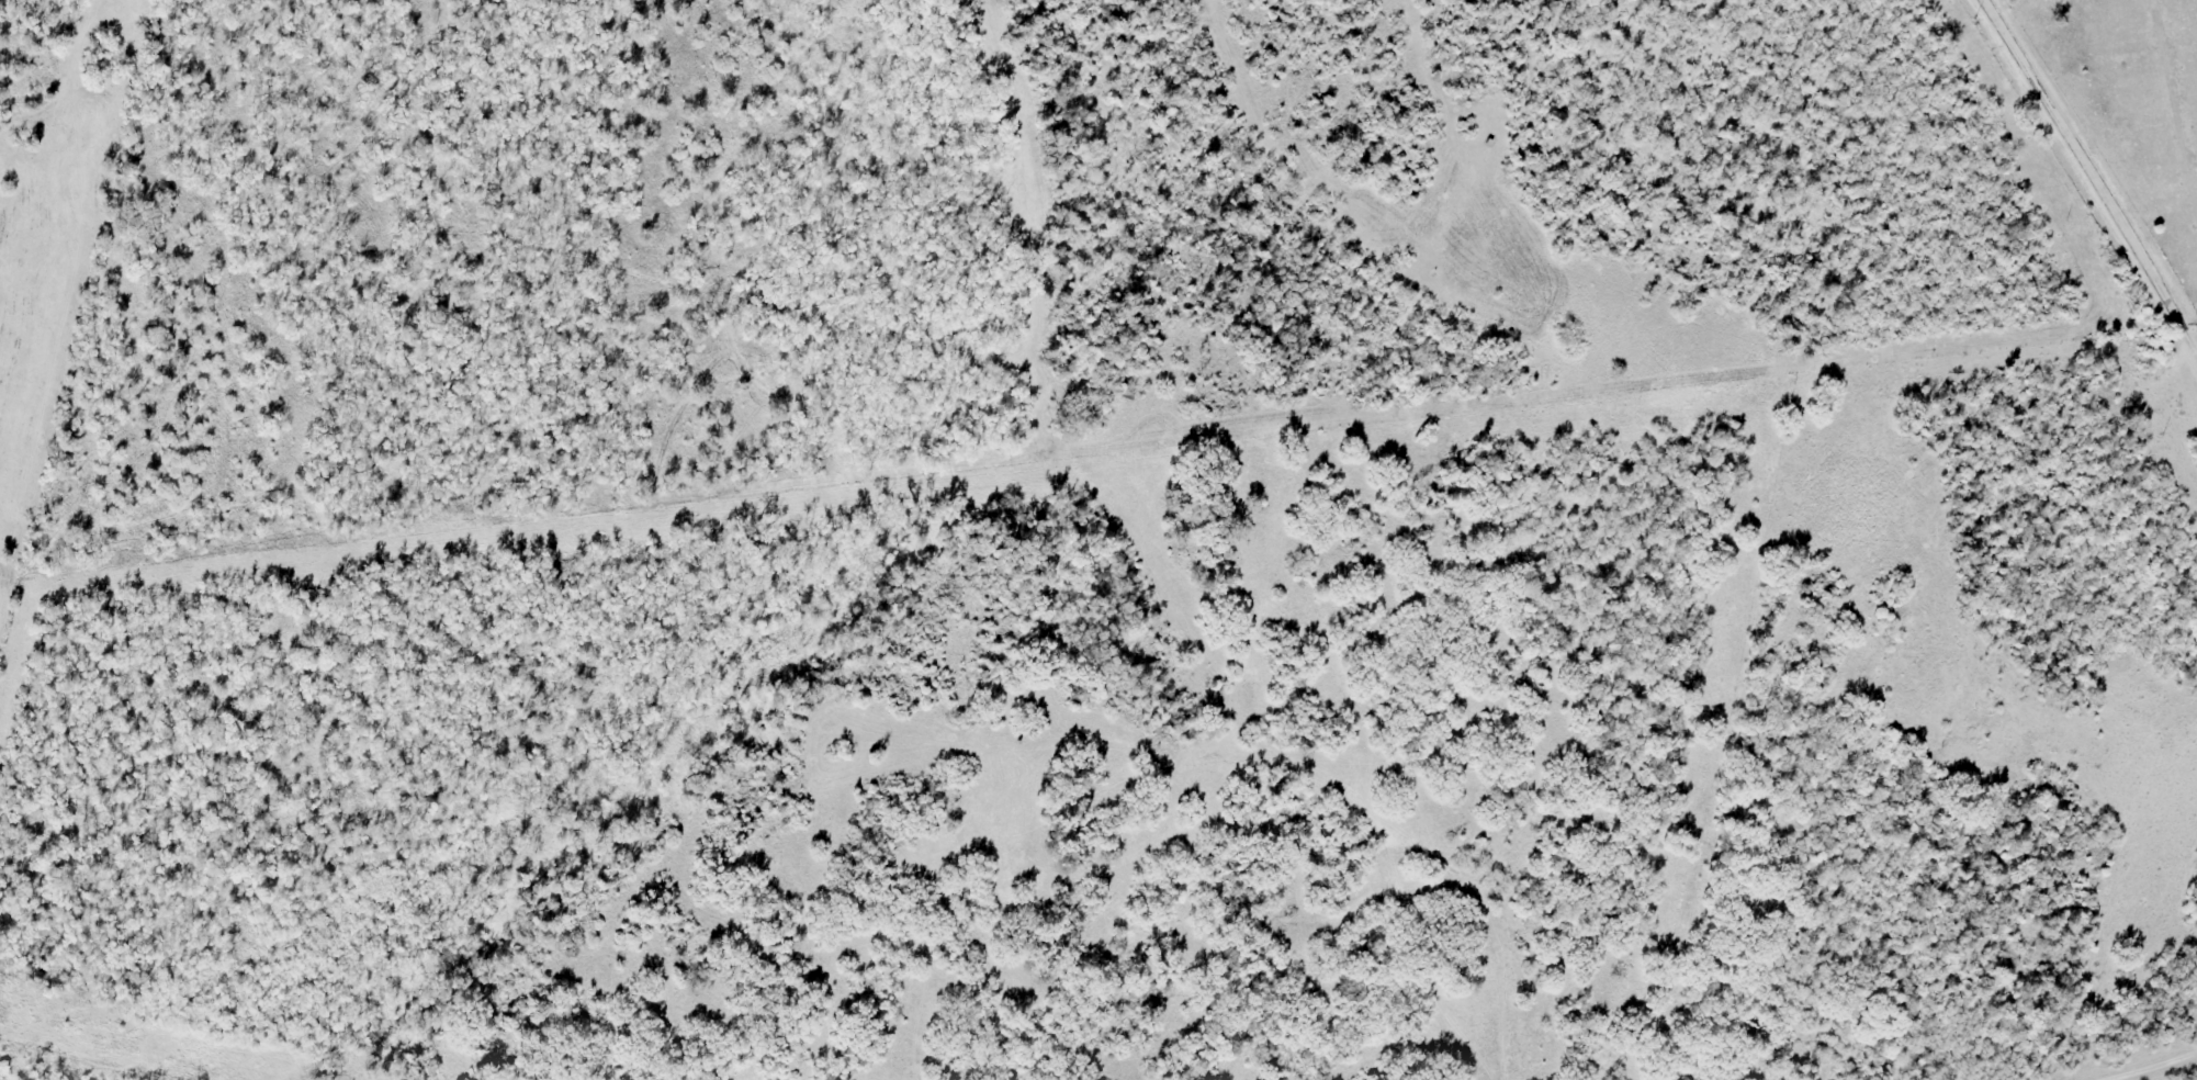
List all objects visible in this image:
building: (1492, 143)
road: (2096, 170)
road: (2155, 1068)

